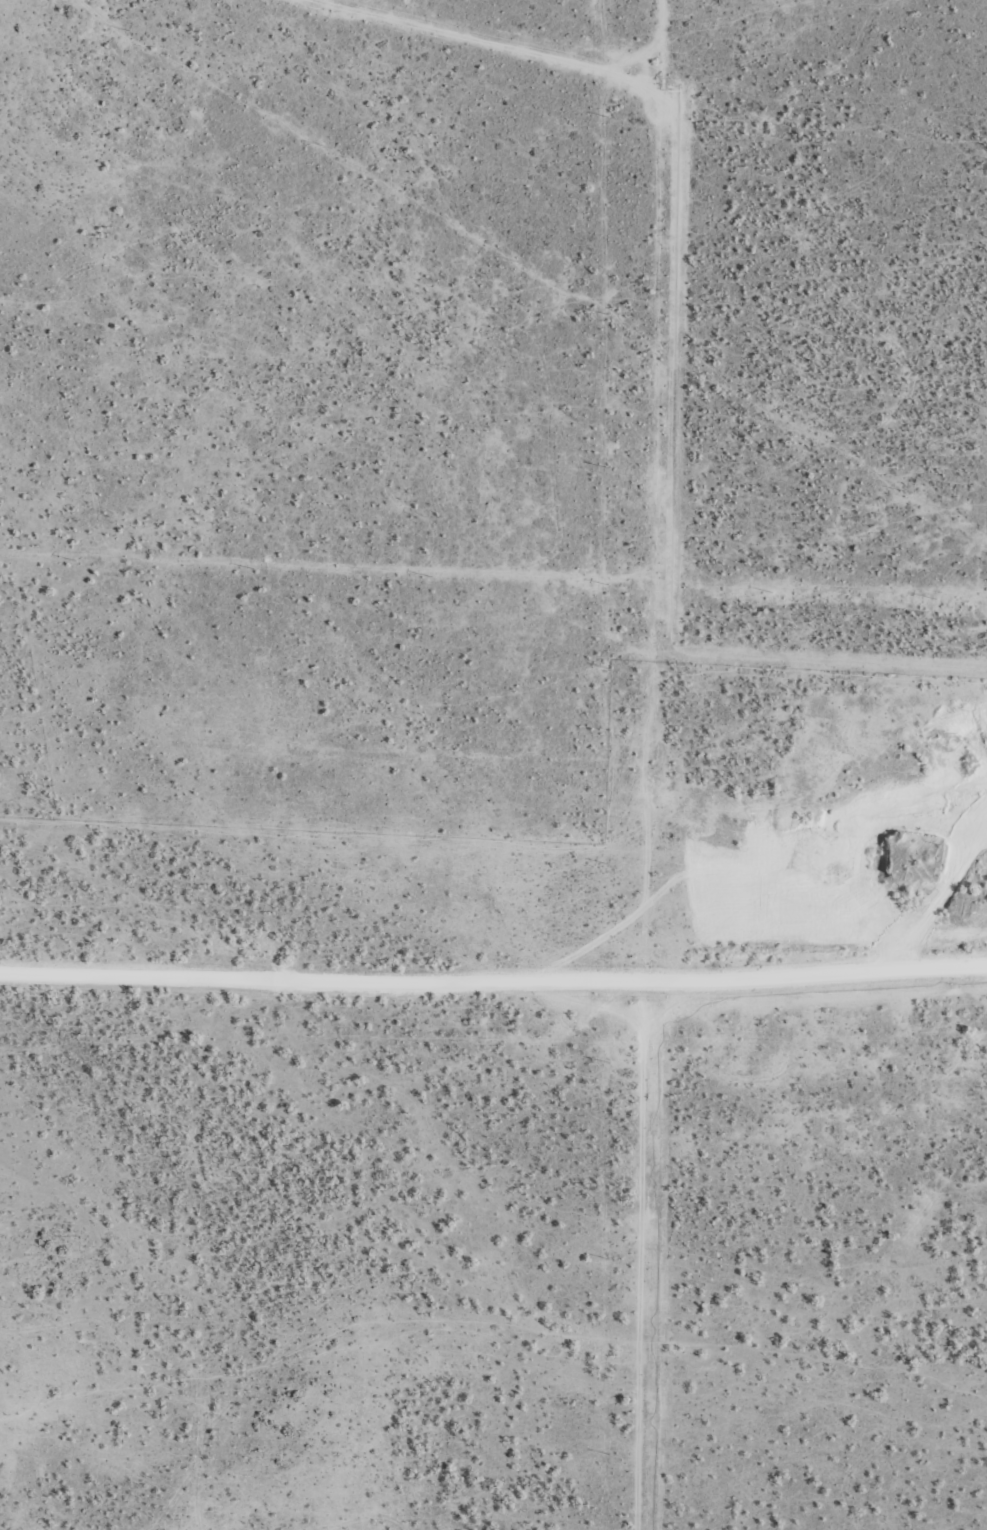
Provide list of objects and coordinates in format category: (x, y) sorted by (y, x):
road: (493, 968)

